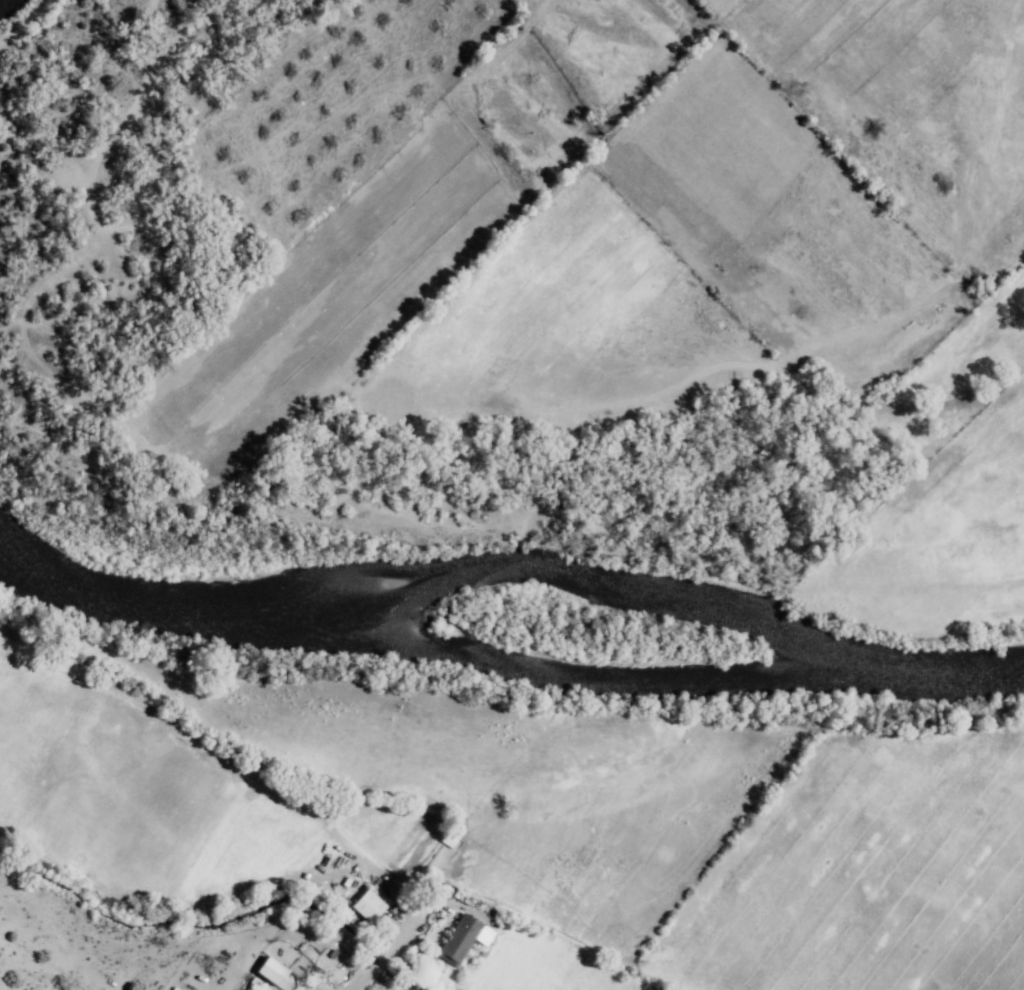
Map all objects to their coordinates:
river: (578, 587)
river: (165, 611)
river: (910, 657)
building: (370, 908)
building: (462, 940)
building: (273, 973)
road: (354, 984)

